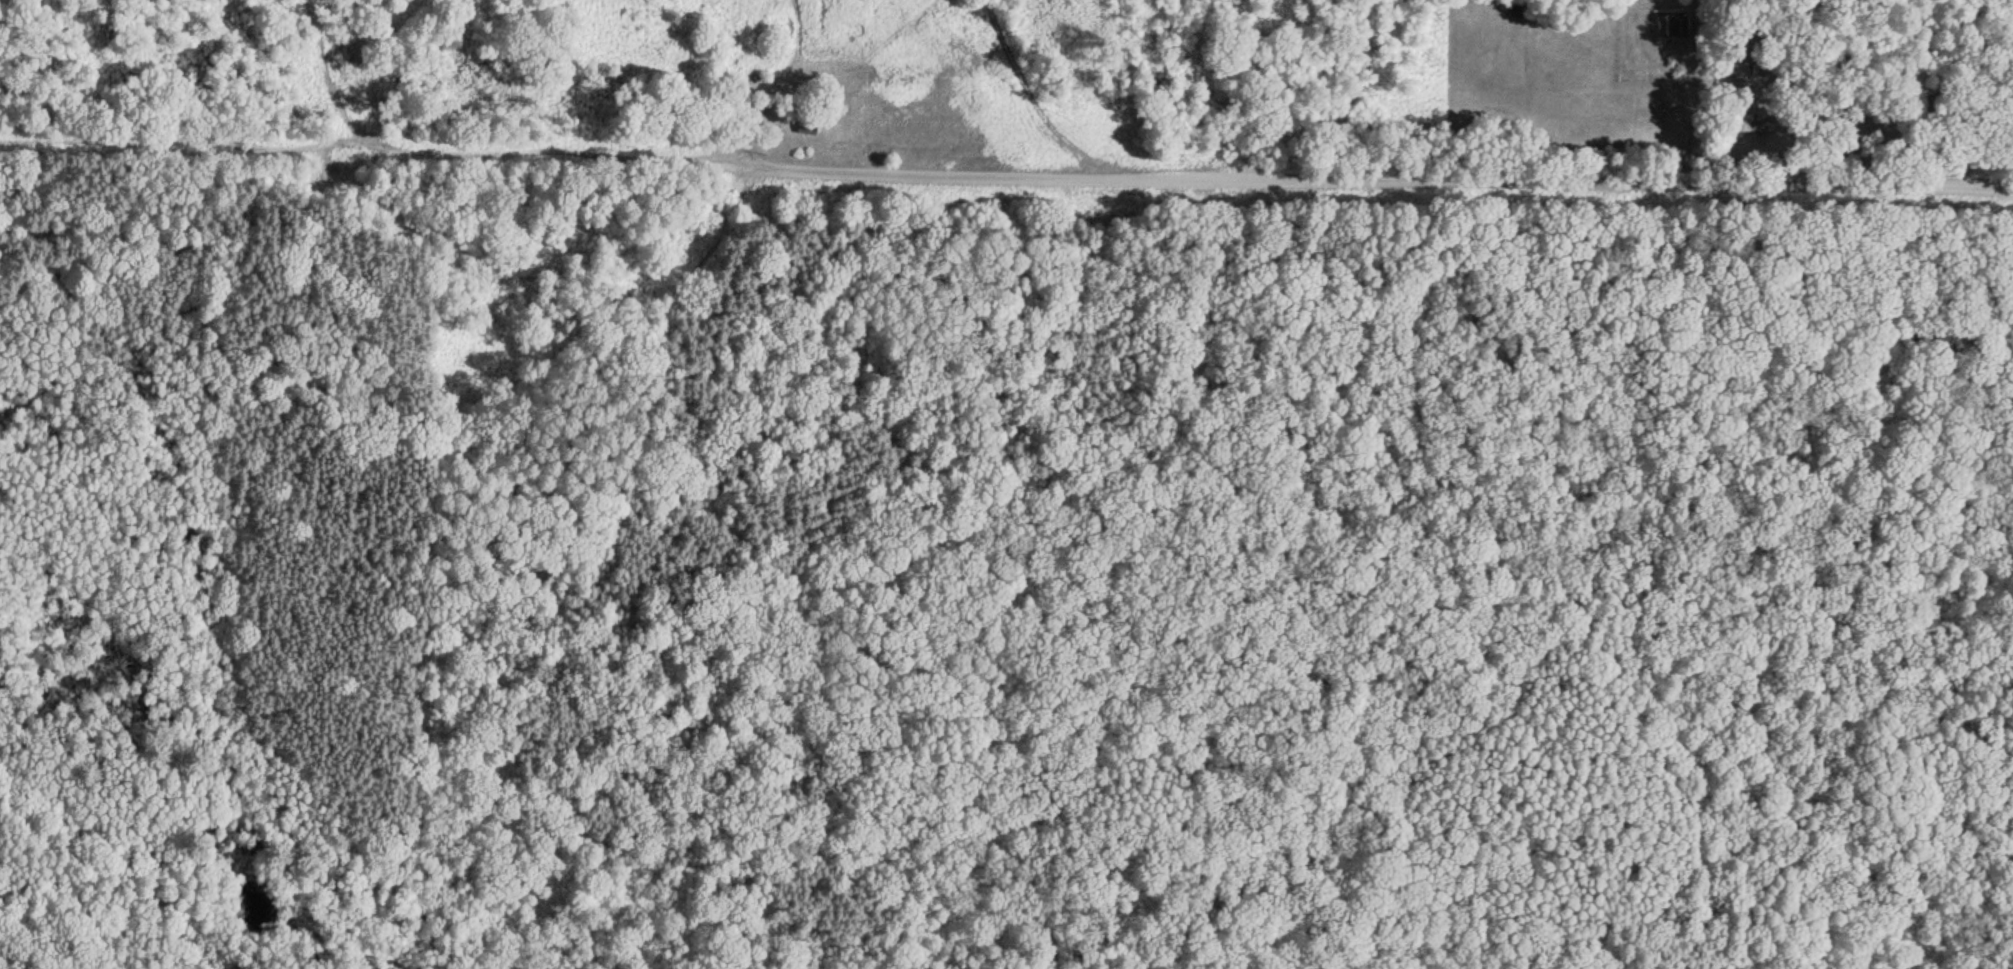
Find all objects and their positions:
road: (328, 70)
building: (1756, 121)
building: (806, 123)
road: (335, 142)
road: (1341, 183)
road: (410, 226)
road: (27, 291)
road: (1114, 518)

